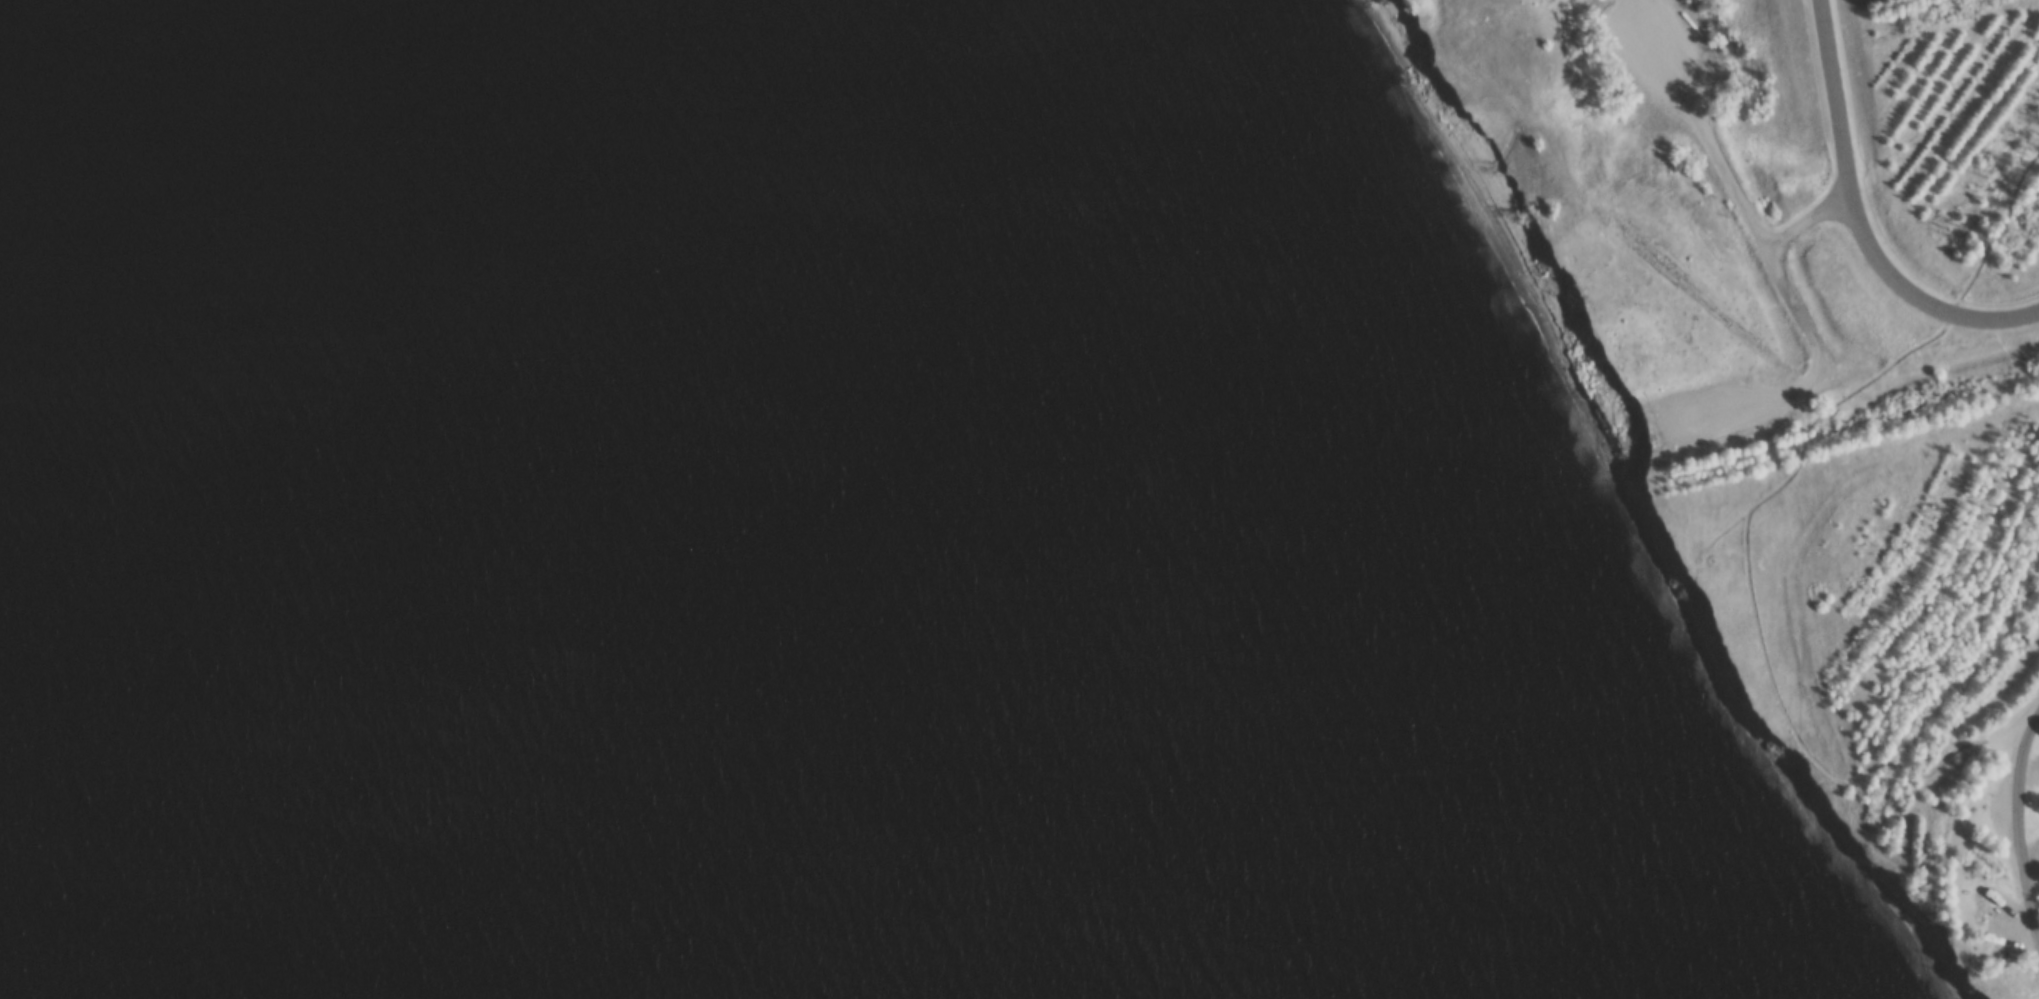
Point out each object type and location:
road: (1812, 217)
road: (1860, 222)
road: (1779, 274)
park: (1805, 398)
road: (1703, 616)
road: (2023, 820)

